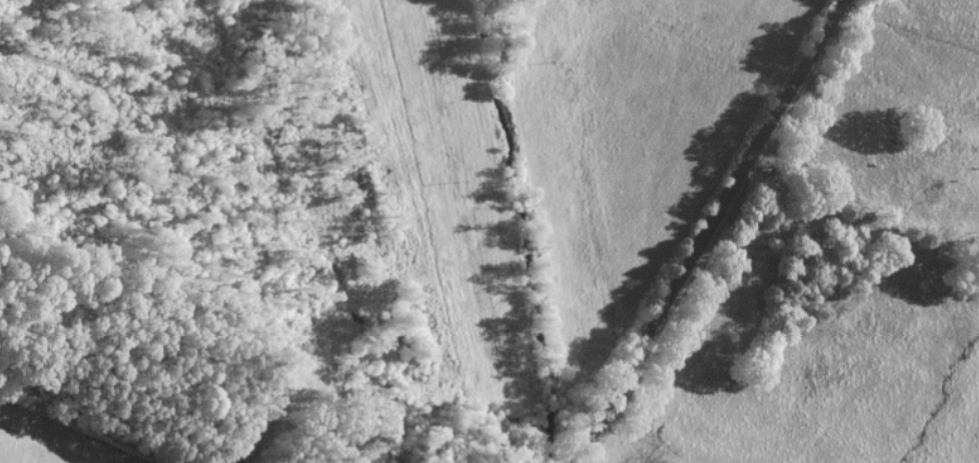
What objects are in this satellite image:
road: (706, 230)

